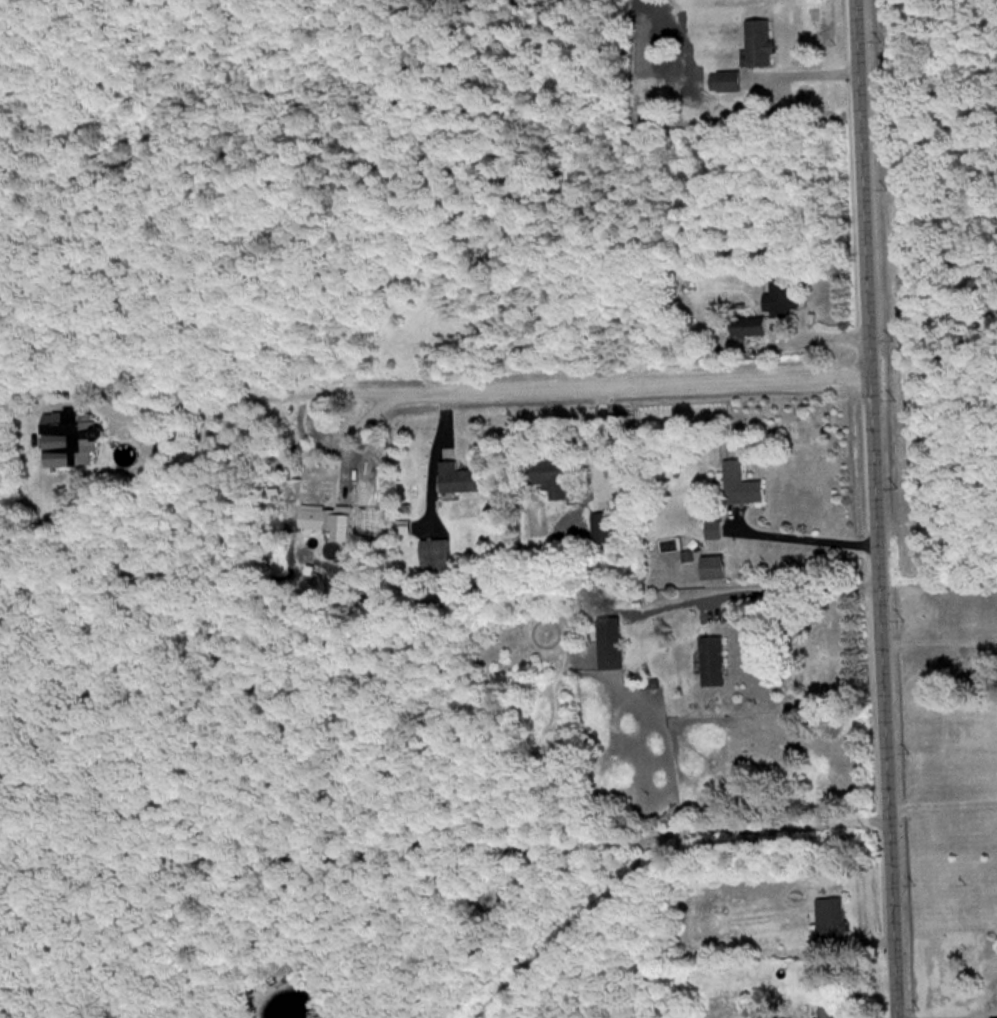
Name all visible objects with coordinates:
building: (758, 42)
building: (728, 80)
park: (931, 281)
building: (780, 296)
building: (747, 326)
road: (599, 381)
road: (228, 400)
building: (69, 437)
building: (550, 475)
building: (457, 478)
building: (740, 485)
road: (869, 509)
building: (325, 521)
building: (603, 527)
building: (714, 530)
road: (806, 532)
building: (434, 554)
building: (712, 567)
building: (608, 643)
building: (712, 661)
road: (939, 798)
building: (831, 916)
building: (829, 1005)

